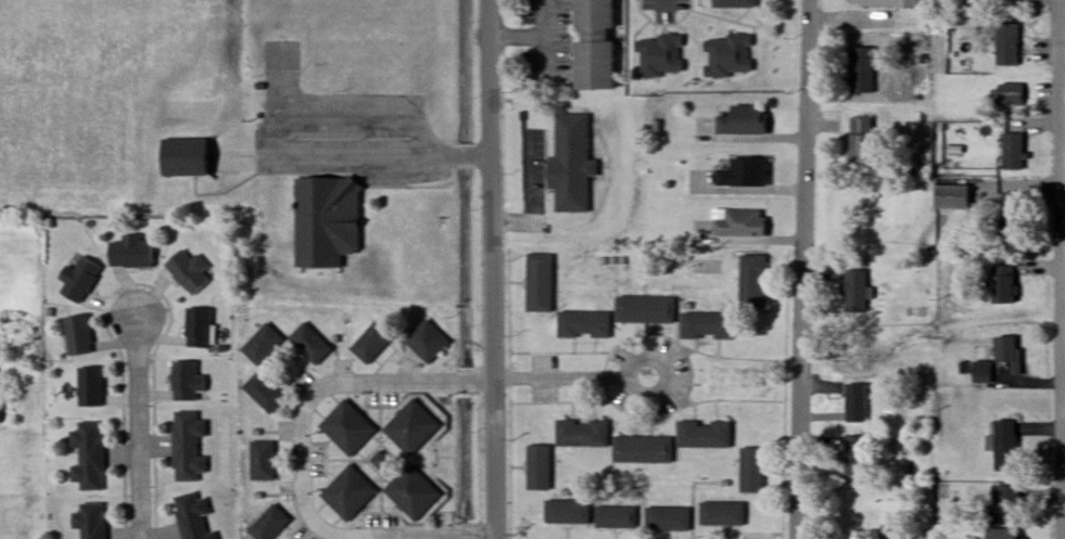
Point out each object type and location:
building: (733, 3)
building: (883, 3)
road: (527, 33)
building: (592, 44)
building: (1006, 44)
building: (659, 55)
building: (727, 55)
building: (860, 70)
building: (1010, 95)
building: (741, 120)
building: (857, 141)
building: (1014, 151)
road: (380, 155)
building: (183, 157)
building: (570, 163)
road: (1064, 170)
building: (743, 172)
road: (1063, 179)
building: (950, 196)
building: (1012, 215)
building: (326, 221)
building: (739, 223)
building: (131, 252)
building: (706, 266)
road: (495, 269)
road: (803, 269)
building: (189, 271)
building: (79, 279)
building: (751, 280)
building: (538, 282)
building: (1002, 285)
building: (853, 292)
building: (645, 310)
building: (583, 324)
building: (706, 326)
building: (198, 328)
building: (78, 335)
building: (427, 341)
building: (309, 342)
building: (370, 342)
building: (262, 343)
building: (1007, 351)
road: (576, 371)
building: (981, 376)
building: (186, 381)
building: (90, 386)
building: (263, 392)
building: (854, 402)
building: (410, 426)
road: (139, 427)
building: (347, 427)
building: (581, 433)
building: (703, 434)
building: (187, 446)
building: (1004, 446)
building: (642, 449)
building: (88, 455)
building: (852, 455)
road: (305, 459)
building: (379, 459)
building: (261, 460)
building: (537, 466)
building: (751, 470)
building: (411, 491)
building: (347, 492)
building: (1006, 501)
building: (566, 512)
building: (721, 513)
building: (192, 516)
building: (614, 516)
road: (1064, 517)
building: (89, 519)
building: (667, 519)
building: (267, 523)
building: (1004, 534)

